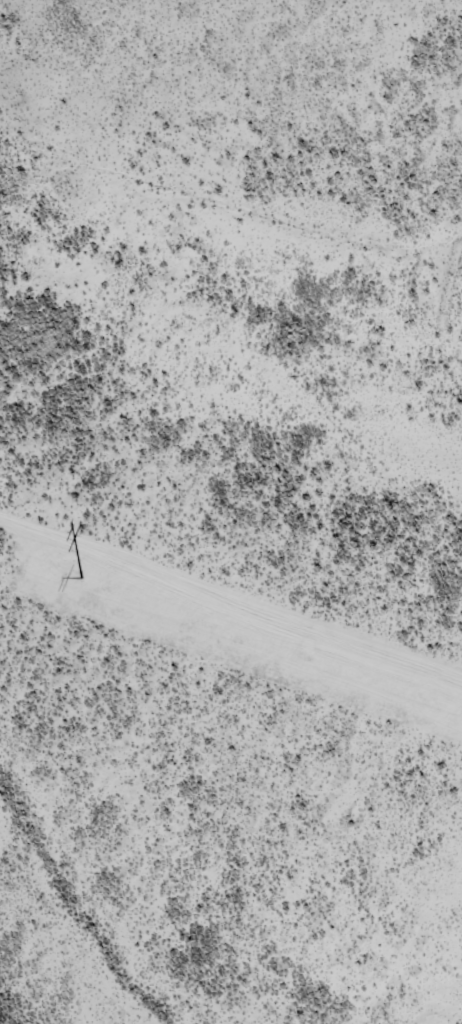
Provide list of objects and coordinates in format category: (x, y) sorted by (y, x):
power tower: (79, 579)

